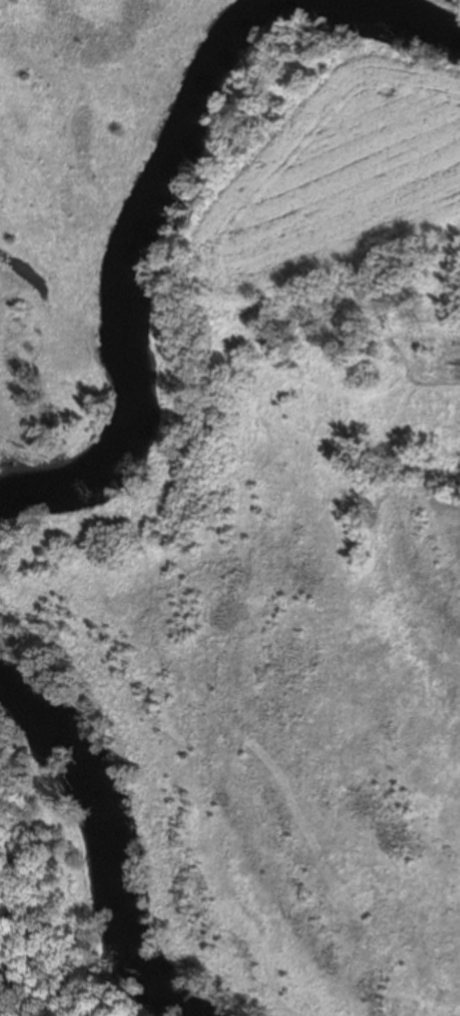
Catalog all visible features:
river: (174, 201)
river: (105, 840)

